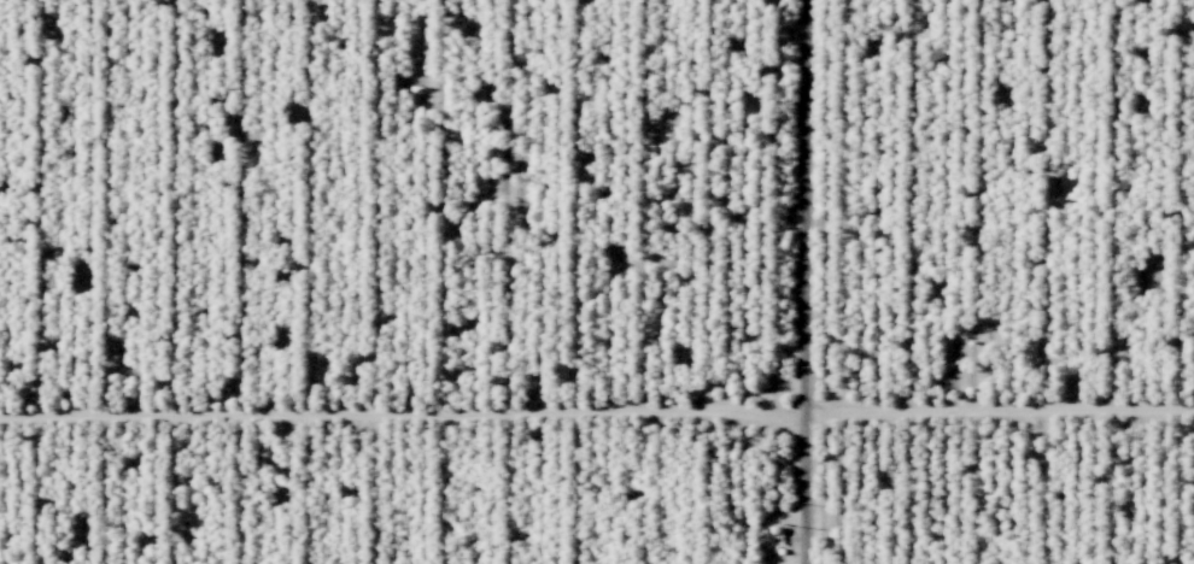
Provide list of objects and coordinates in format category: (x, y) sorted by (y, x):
road: (925, 407)

